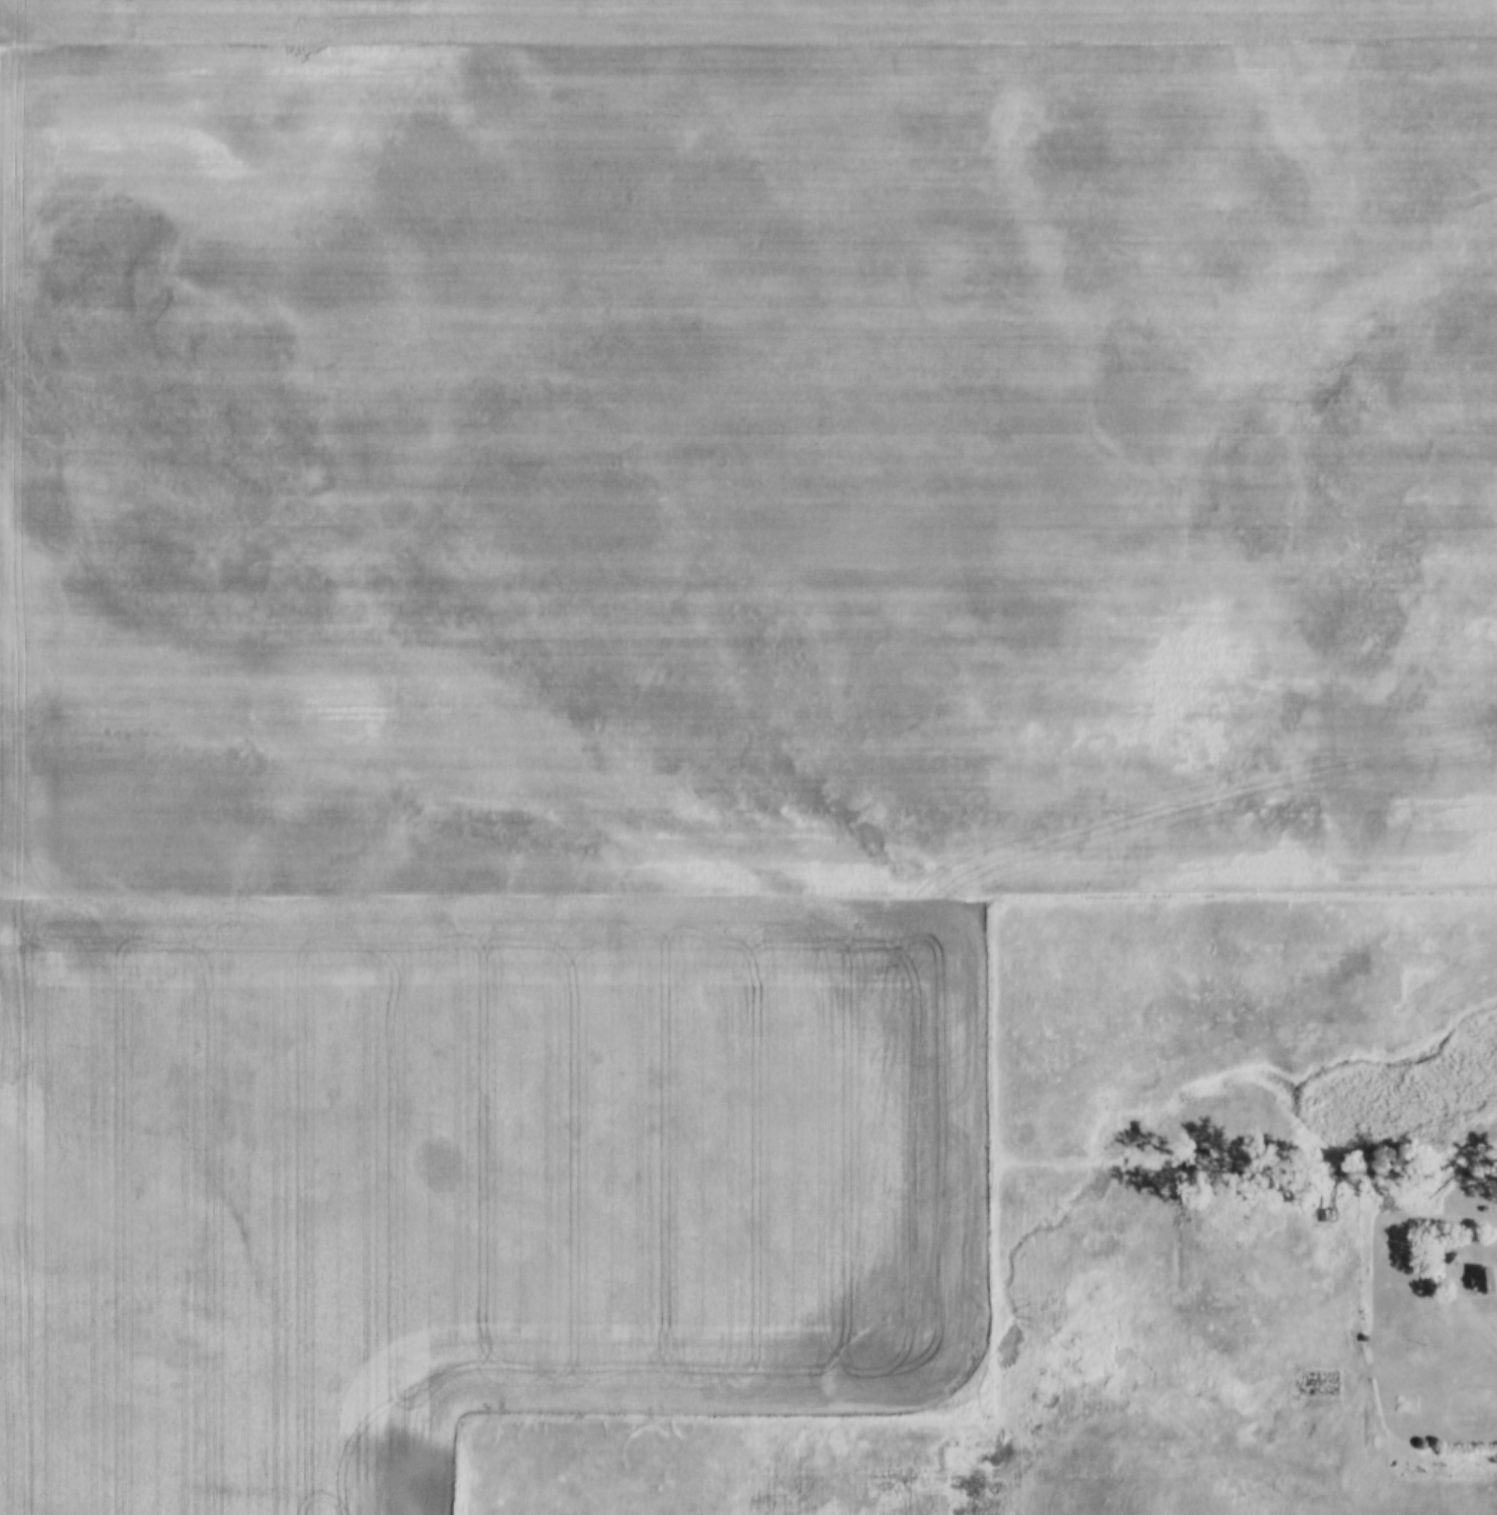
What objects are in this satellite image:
building: (1486, 1282)
road: (1490, 1336)
building: (1327, 1383)

